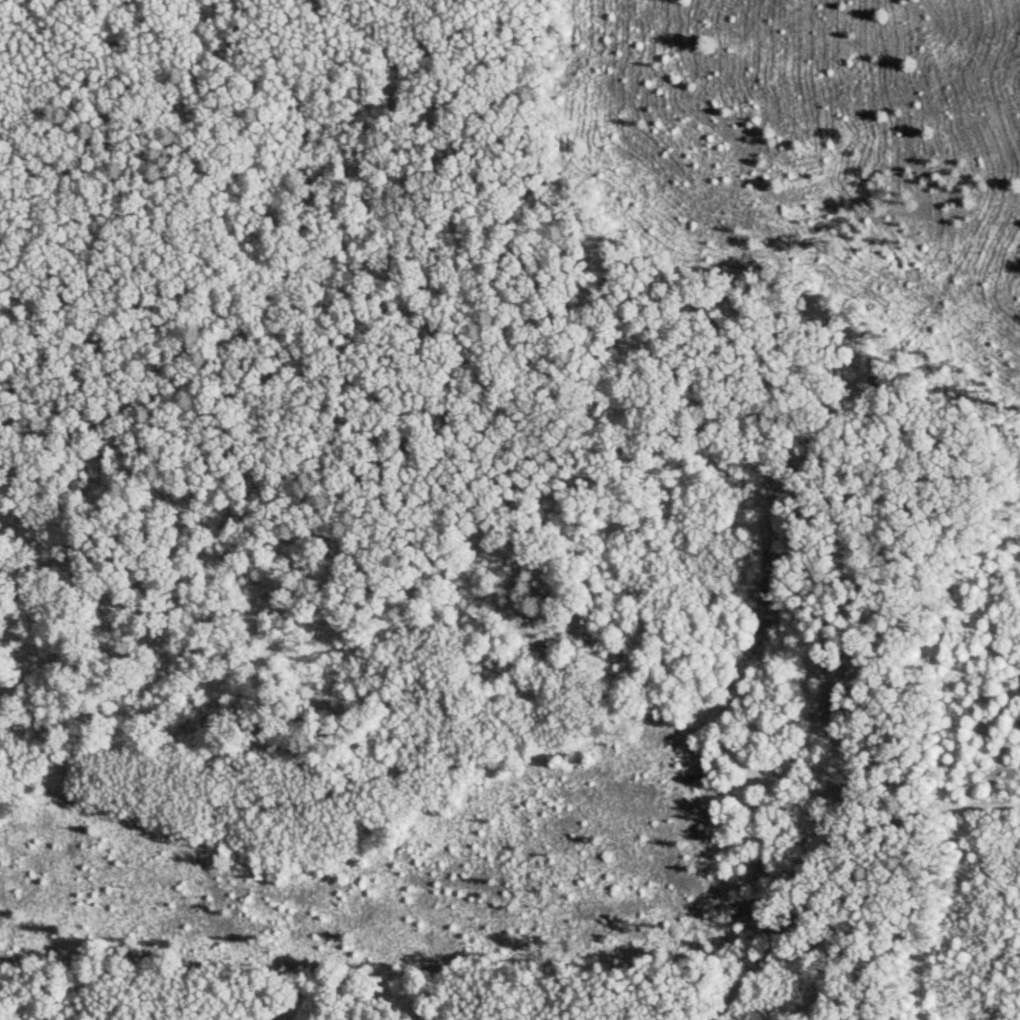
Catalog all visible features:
road: (833, 854)

